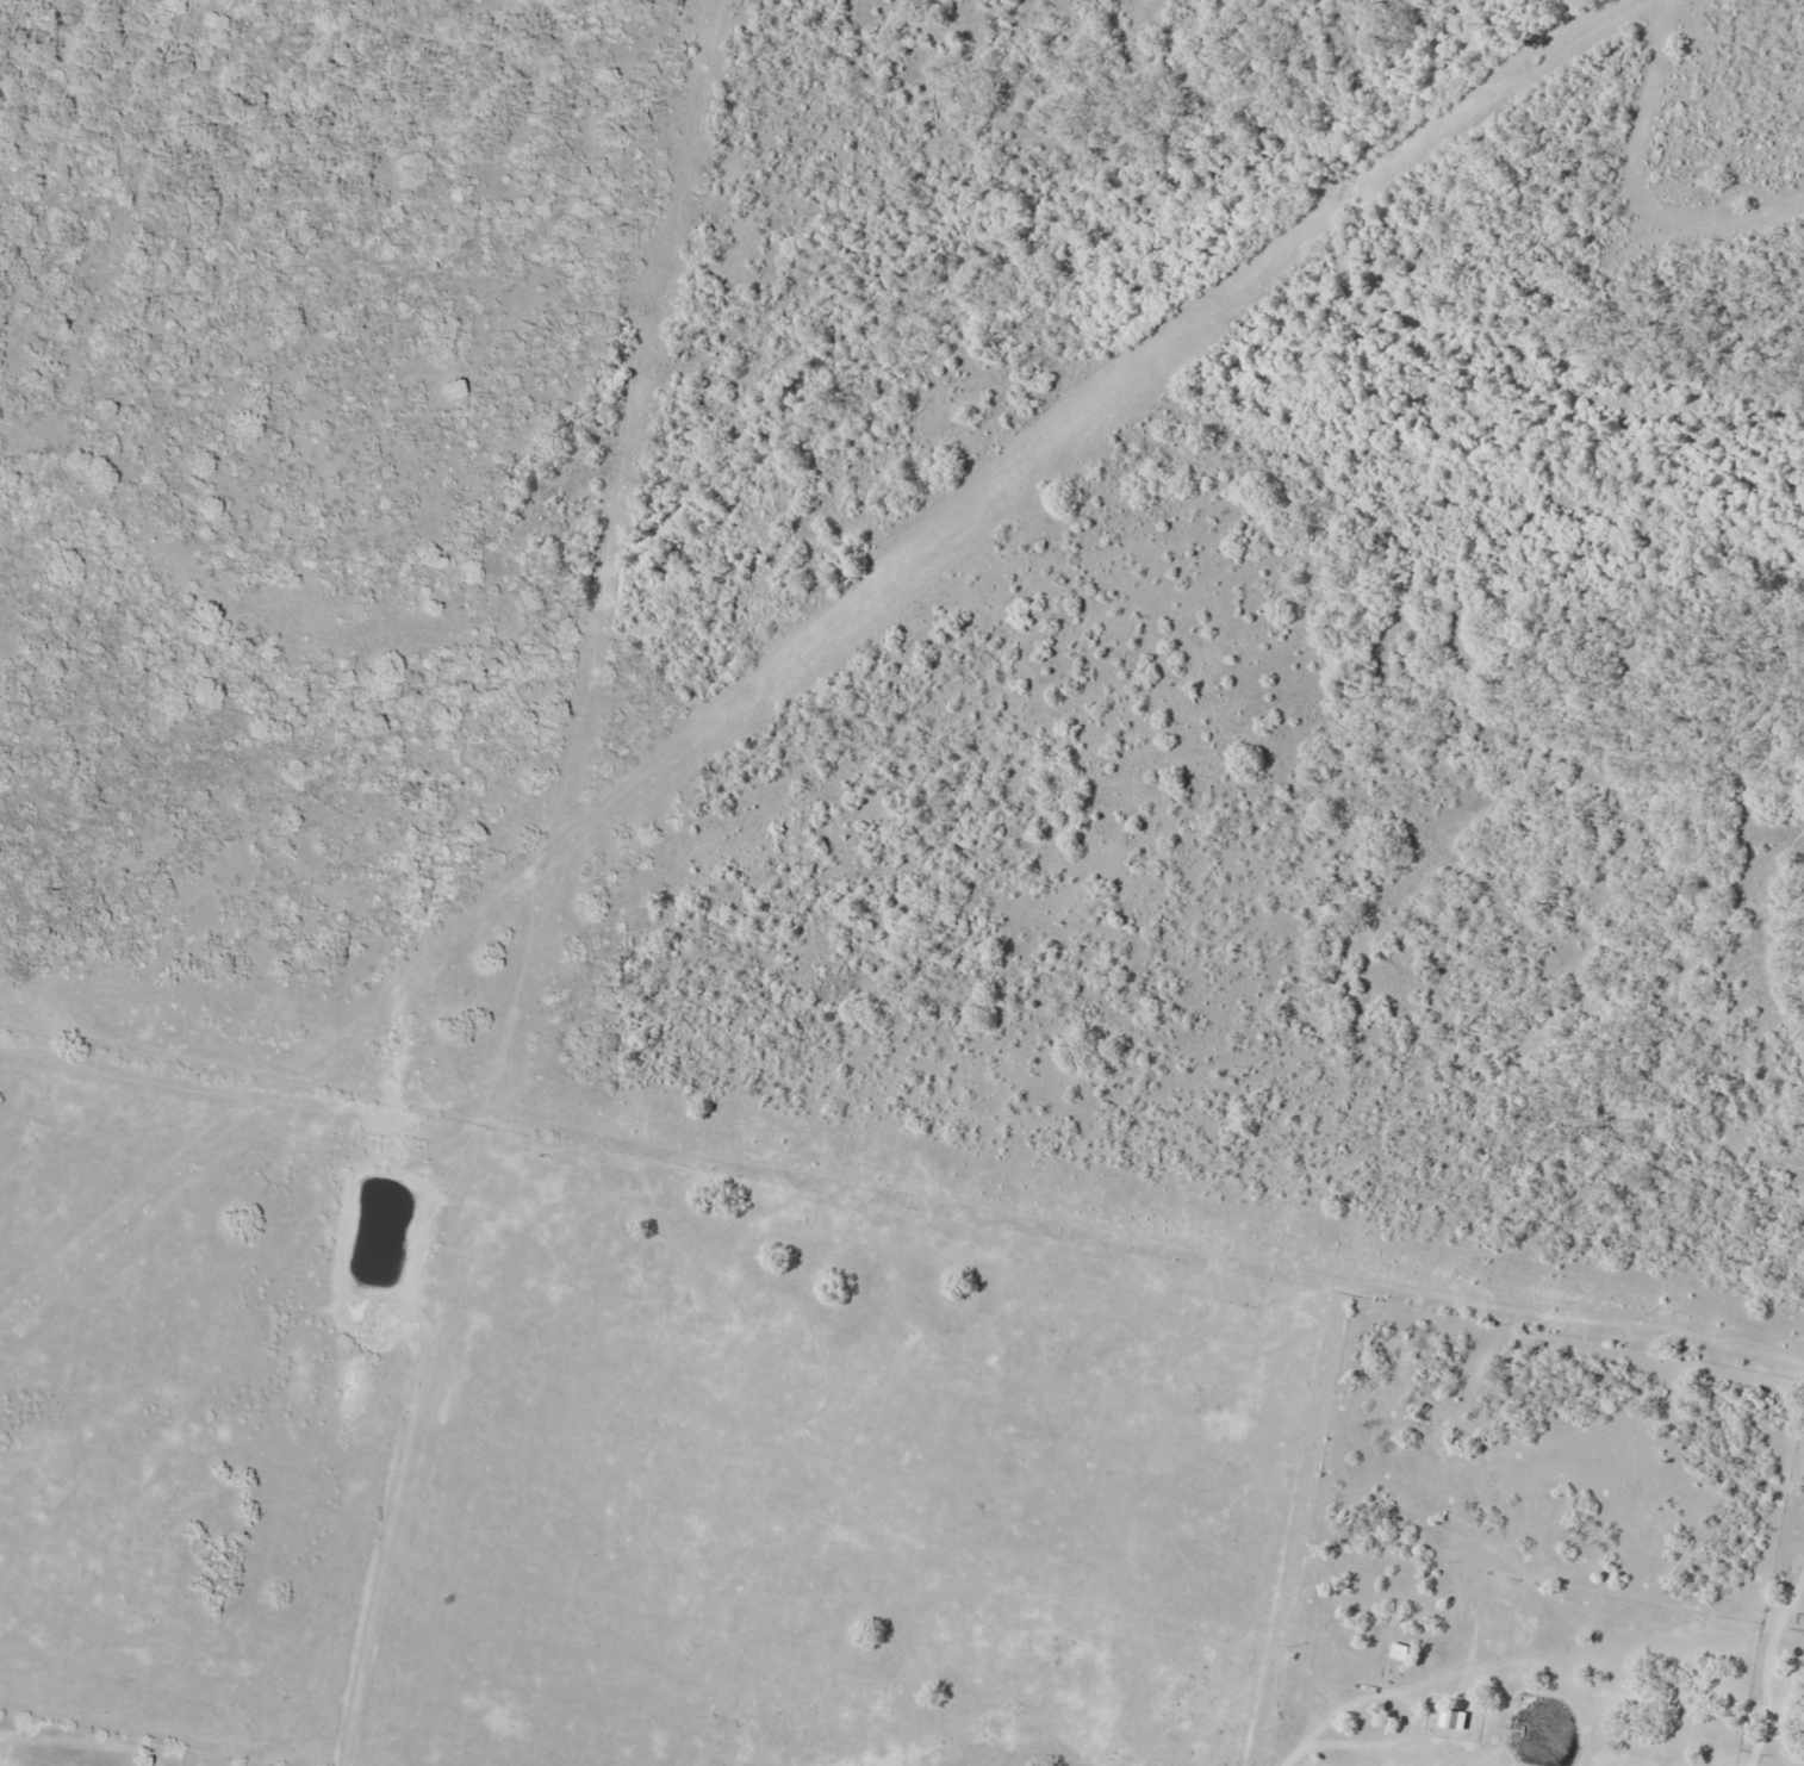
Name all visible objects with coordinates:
building: (1398, 1654)
building: (1449, 1720)

